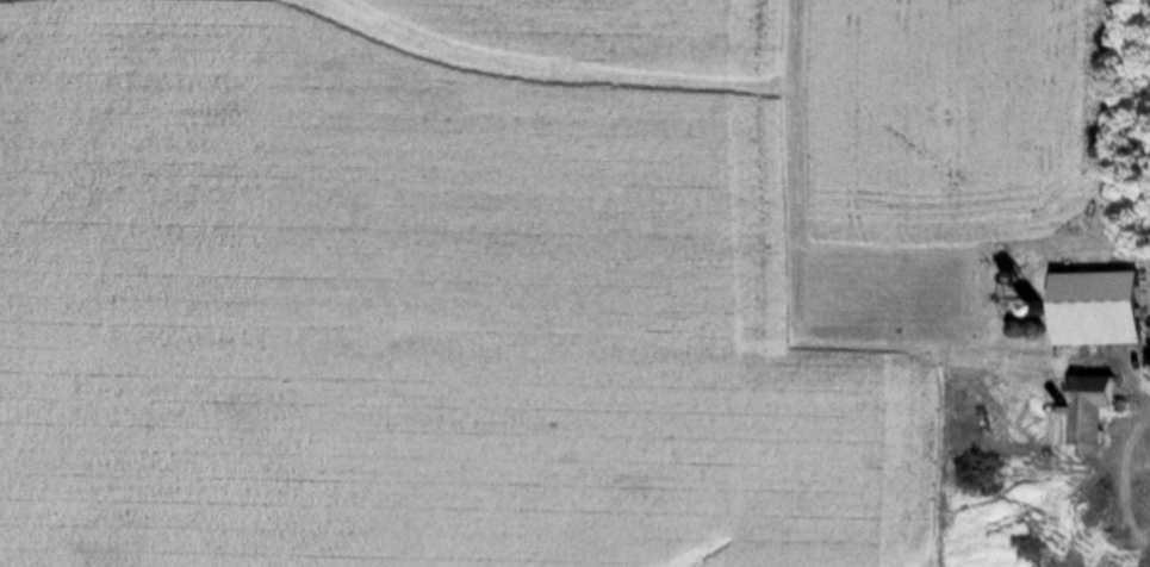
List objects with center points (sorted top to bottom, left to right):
road: (1108, 120)
road: (1133, 247)
building: (1102, 306)
building: (1099, 404)

